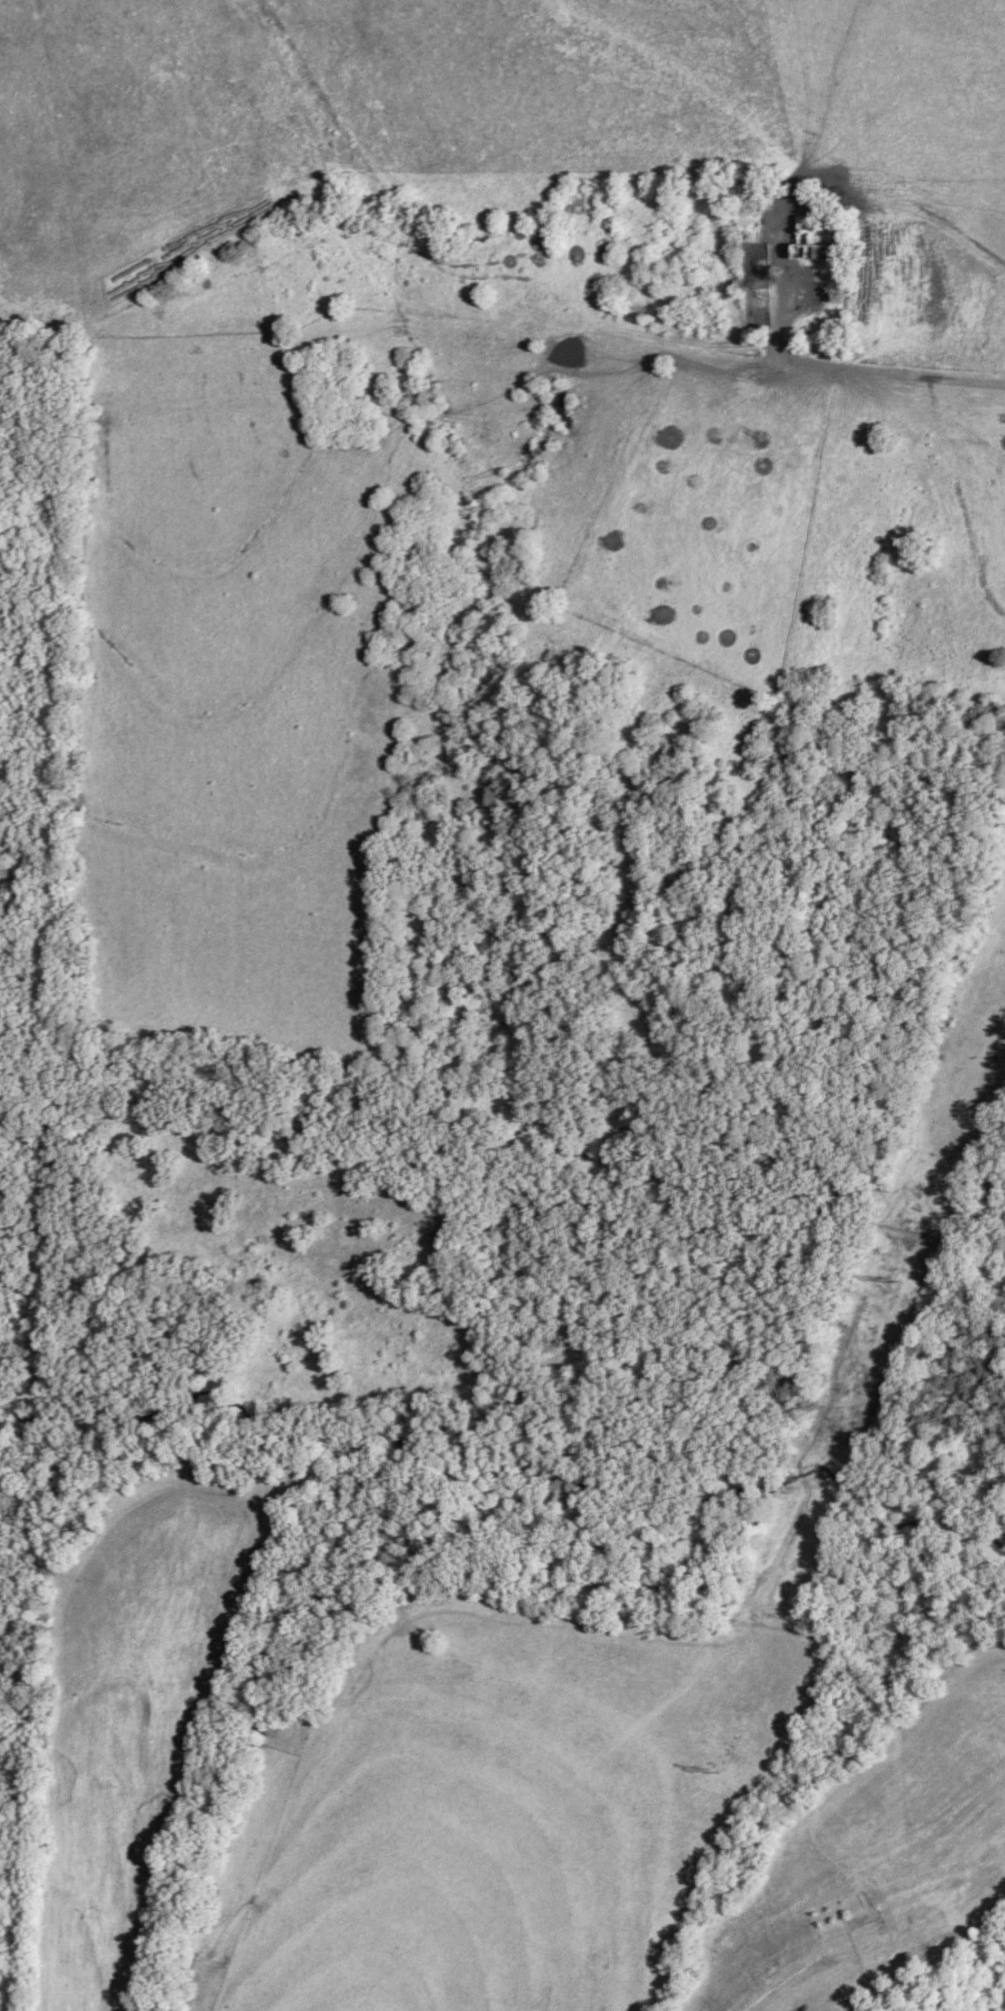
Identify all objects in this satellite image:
building: (808, 246)
road: (891, 379)
power tower: (887, 1277)
power tower: (704, 1772)

